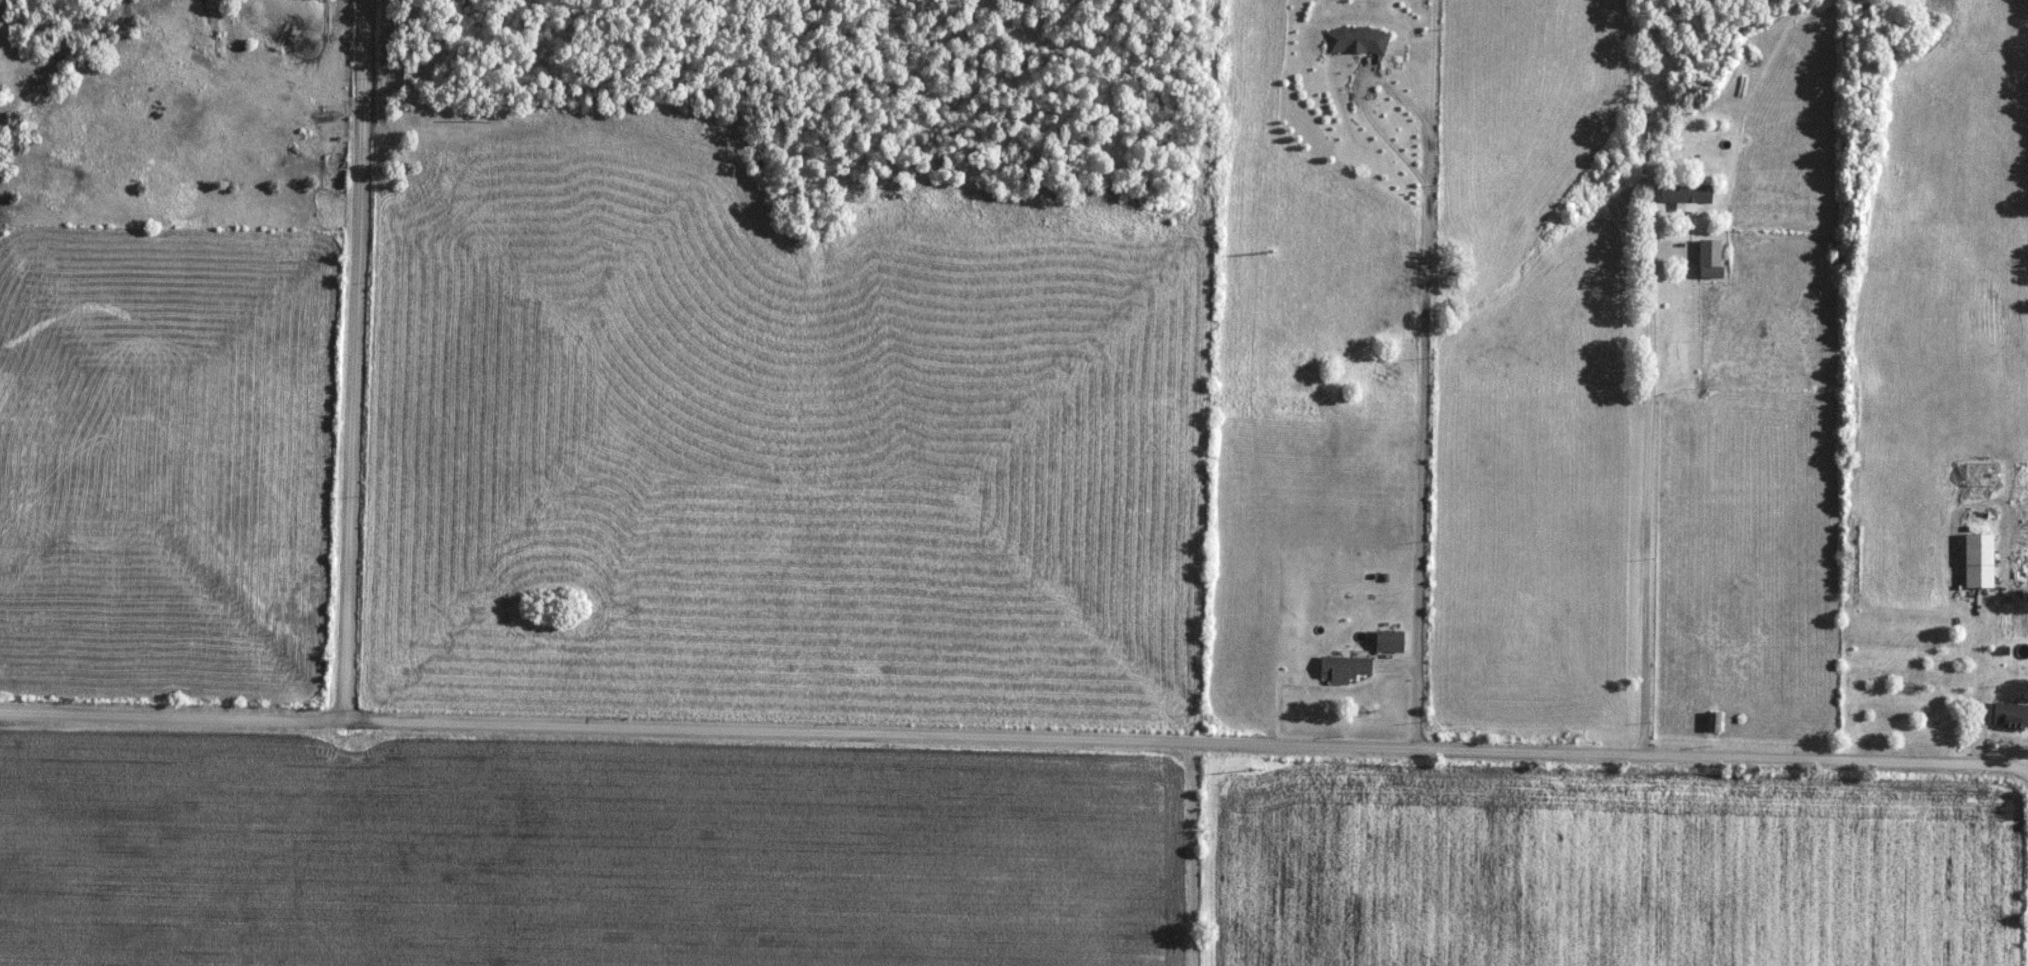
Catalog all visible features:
building: (1358, 40)
building: (1688, 194)
building: (1713, 258)
road: (1429, 279)
road: (355, 361)
road: (1649, 512)
building: (1981, 560)
building: (1391, 641)
building: (1346, 668)
road: (1419, 704)
building: (2010, 715)
building: (1715, 721)
road: (1014, 740)

